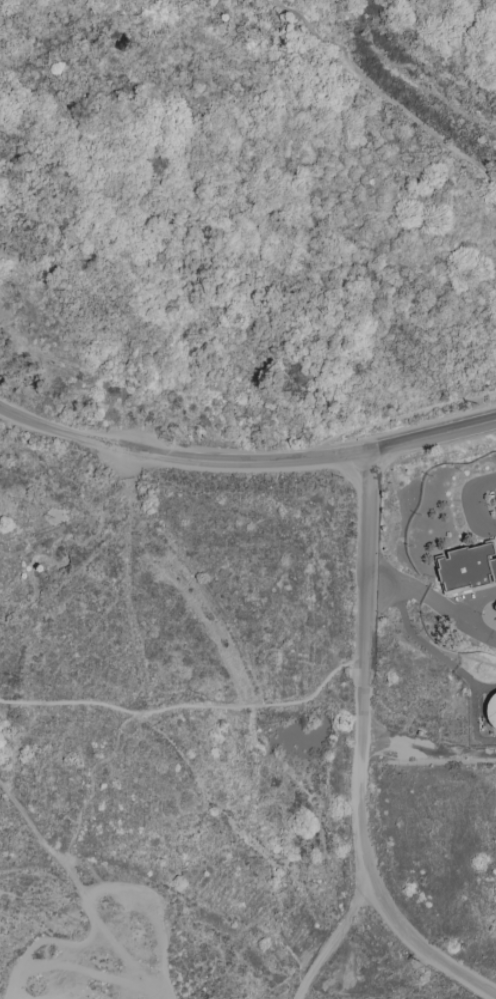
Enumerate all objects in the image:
road: (384, 91)
road: (390, 419)
road: (40, 424)
road: (432, 438)
road: (125, 447)
road: (269, 463)
road: (471, 503)
building: (468, 567)
road: (469, 600)
road: (433, 602)
wastewater plant: (440, 607)
road: (188, 707)
building: (492, 710)
road: (428, 749)
road: (361, 754)
road: (332, 939)

